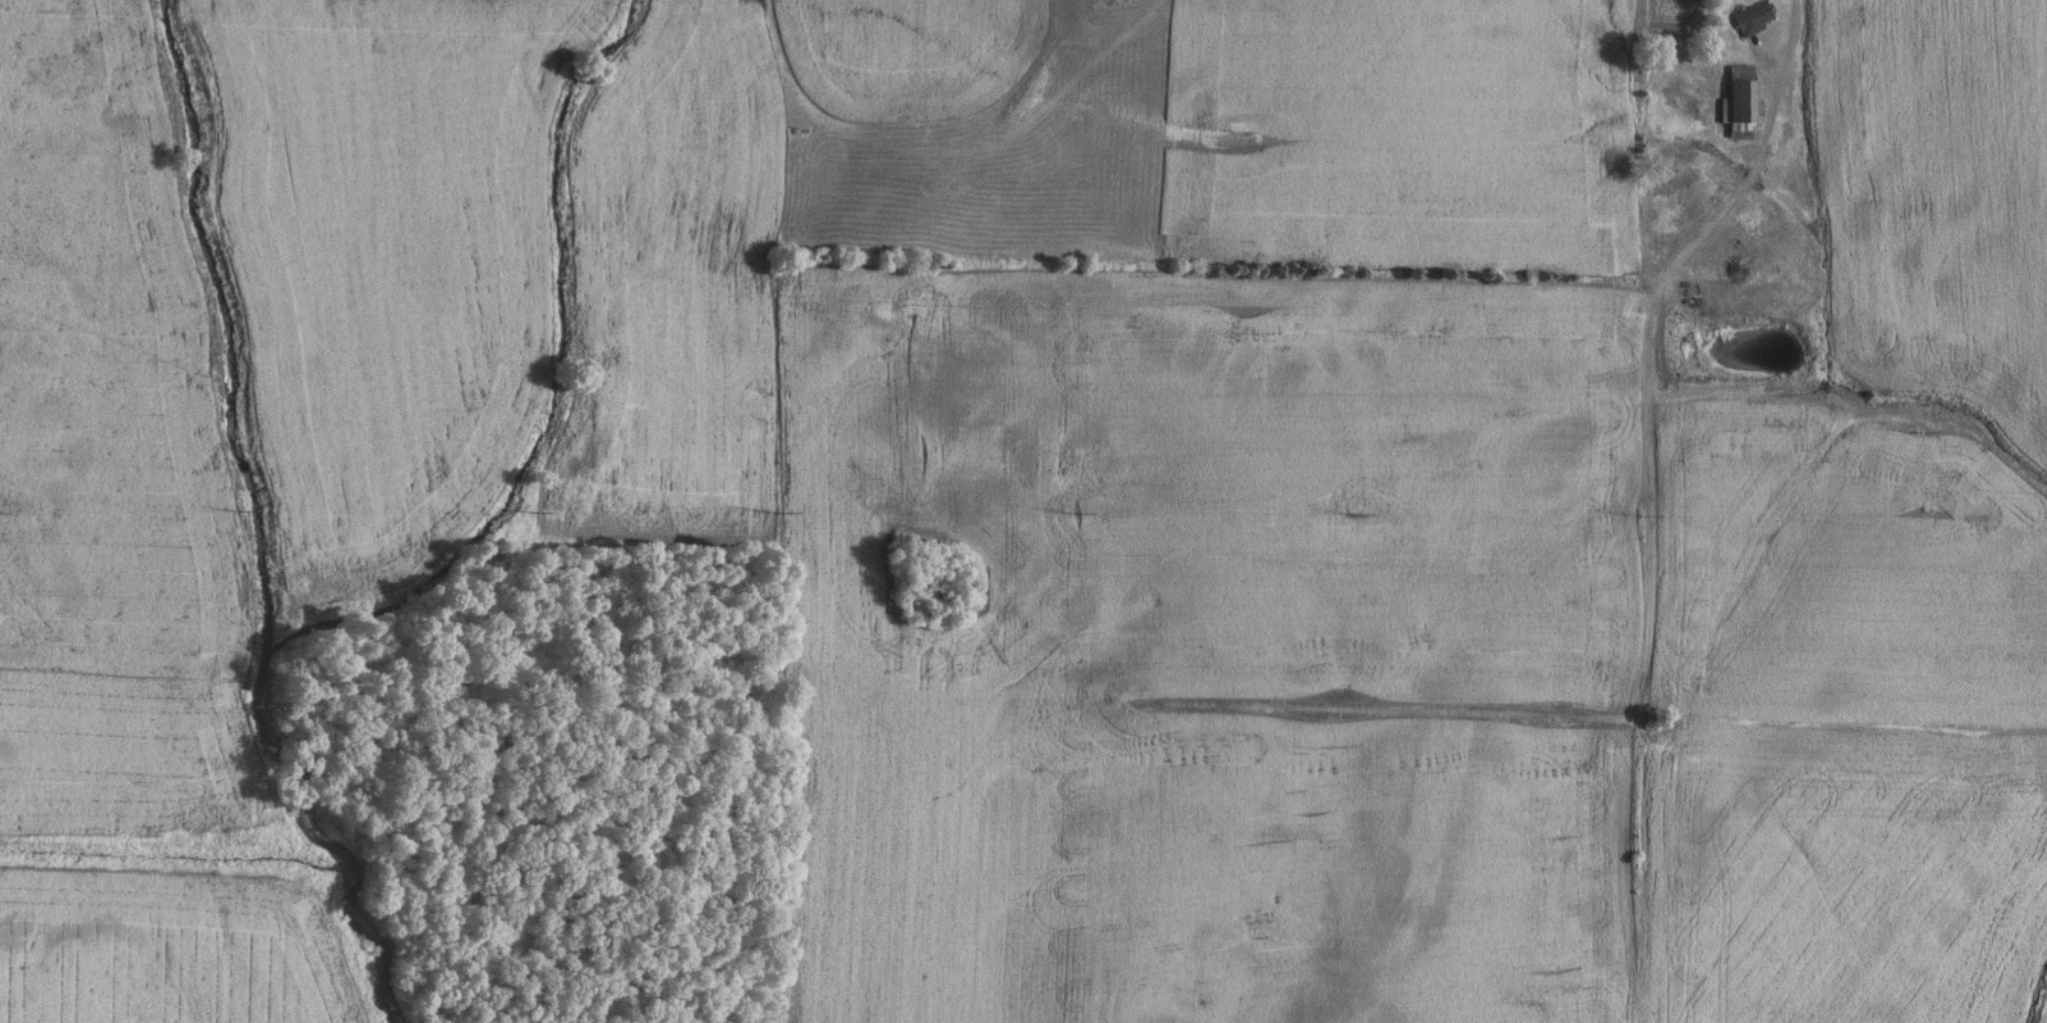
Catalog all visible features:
road: (1787, 54)
building: (1648, 262)

